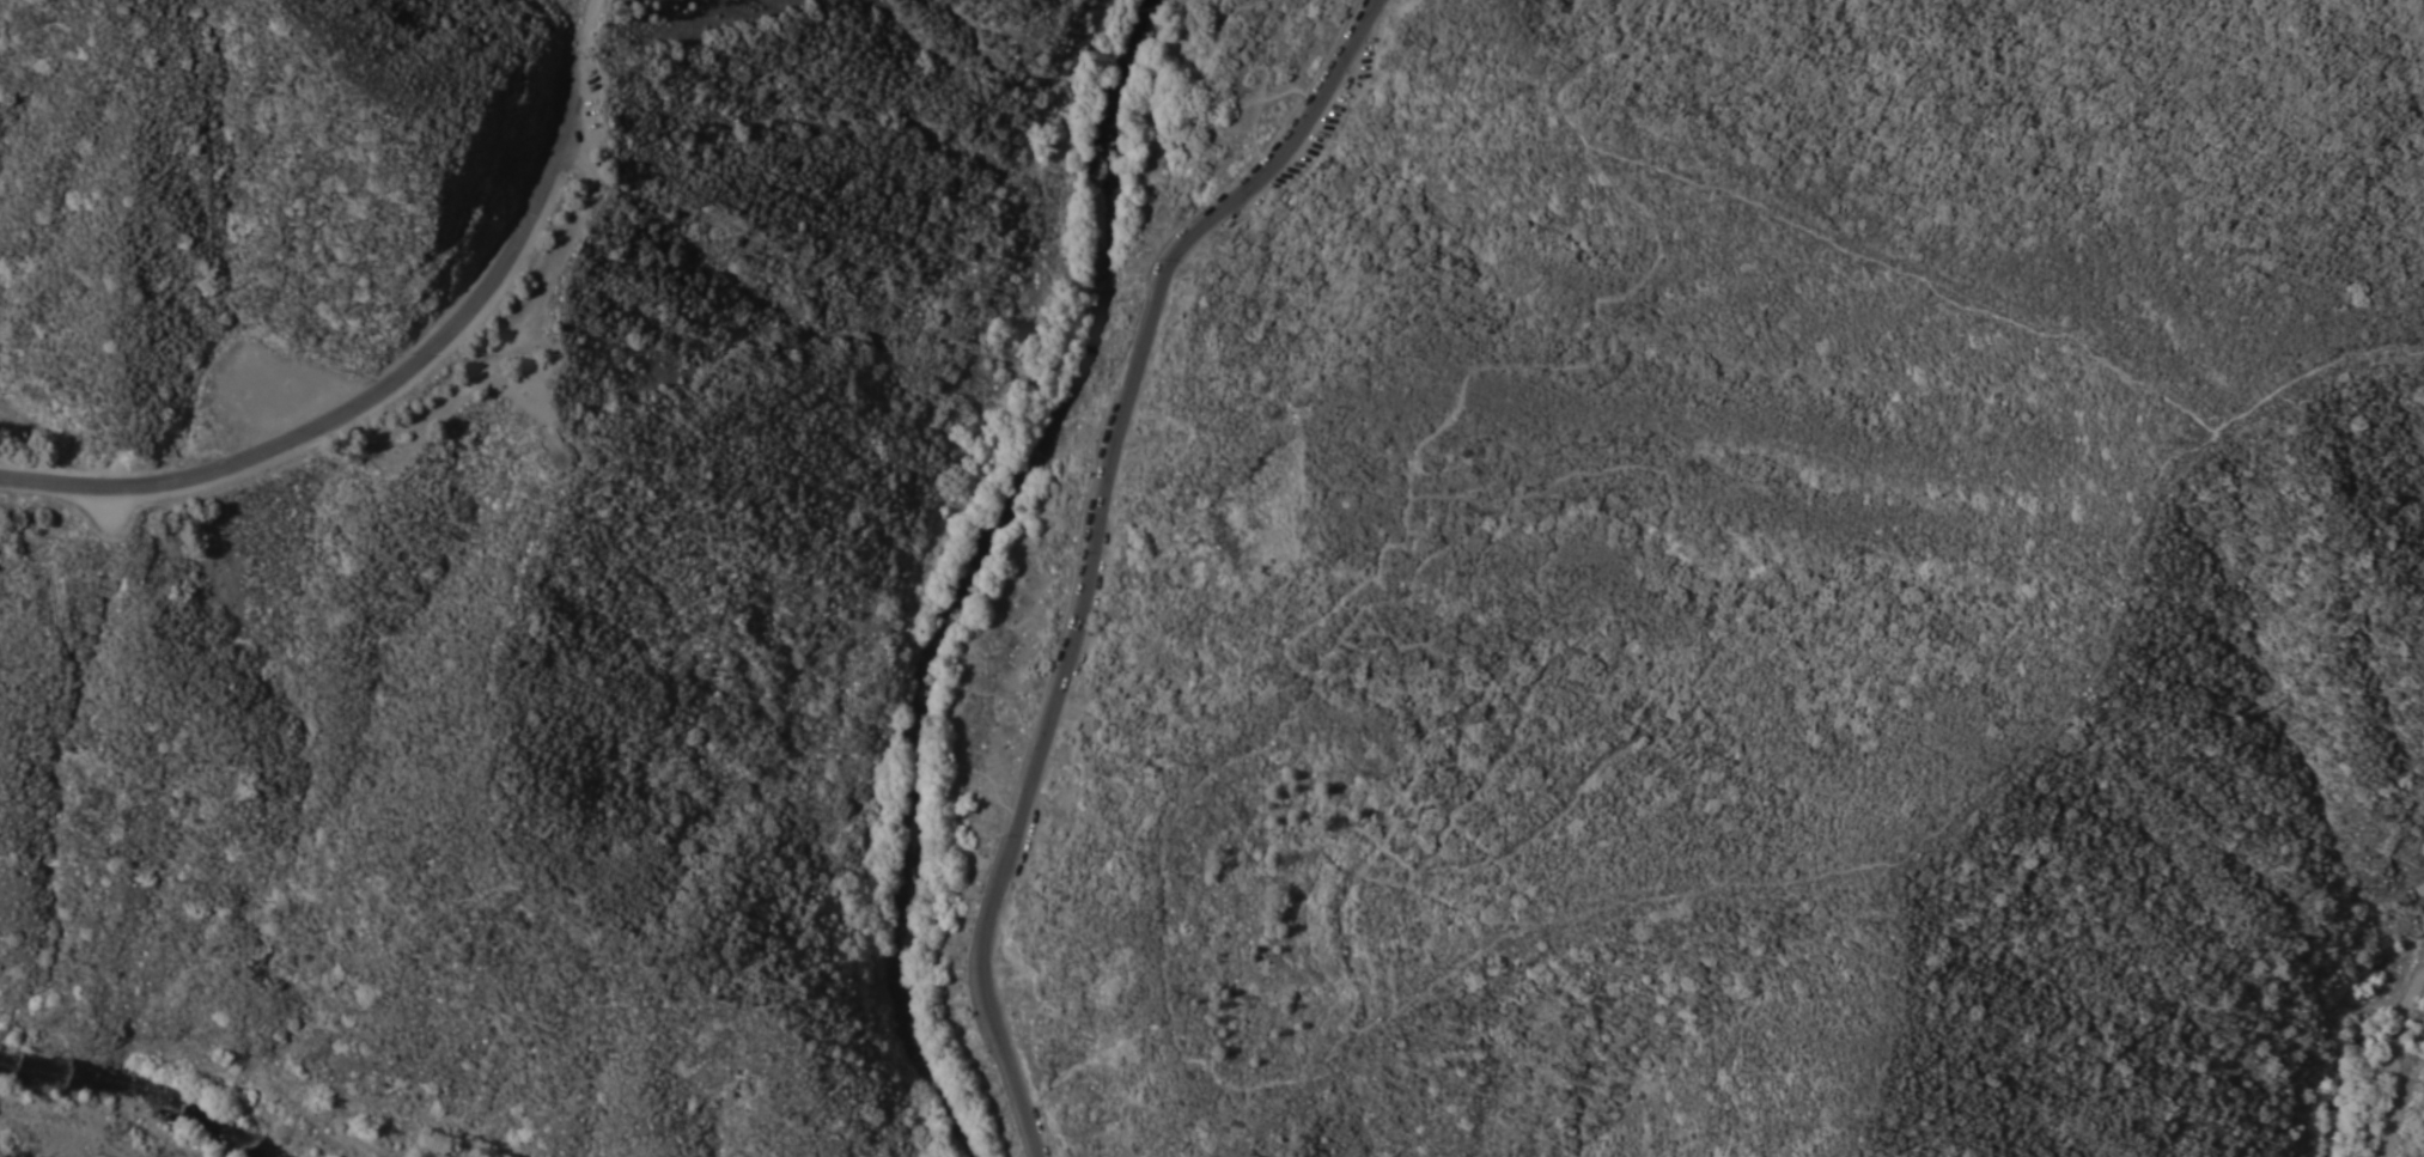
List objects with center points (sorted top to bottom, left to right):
road: (586, 26)
parking lot: (589, 115)
parking lot: (1321, 127)
road: (526, 312)
road: (382, 391)
road: (1095, 546)
river: (972, 574)
road: (2394, 1062)
river: (136, 1084)

